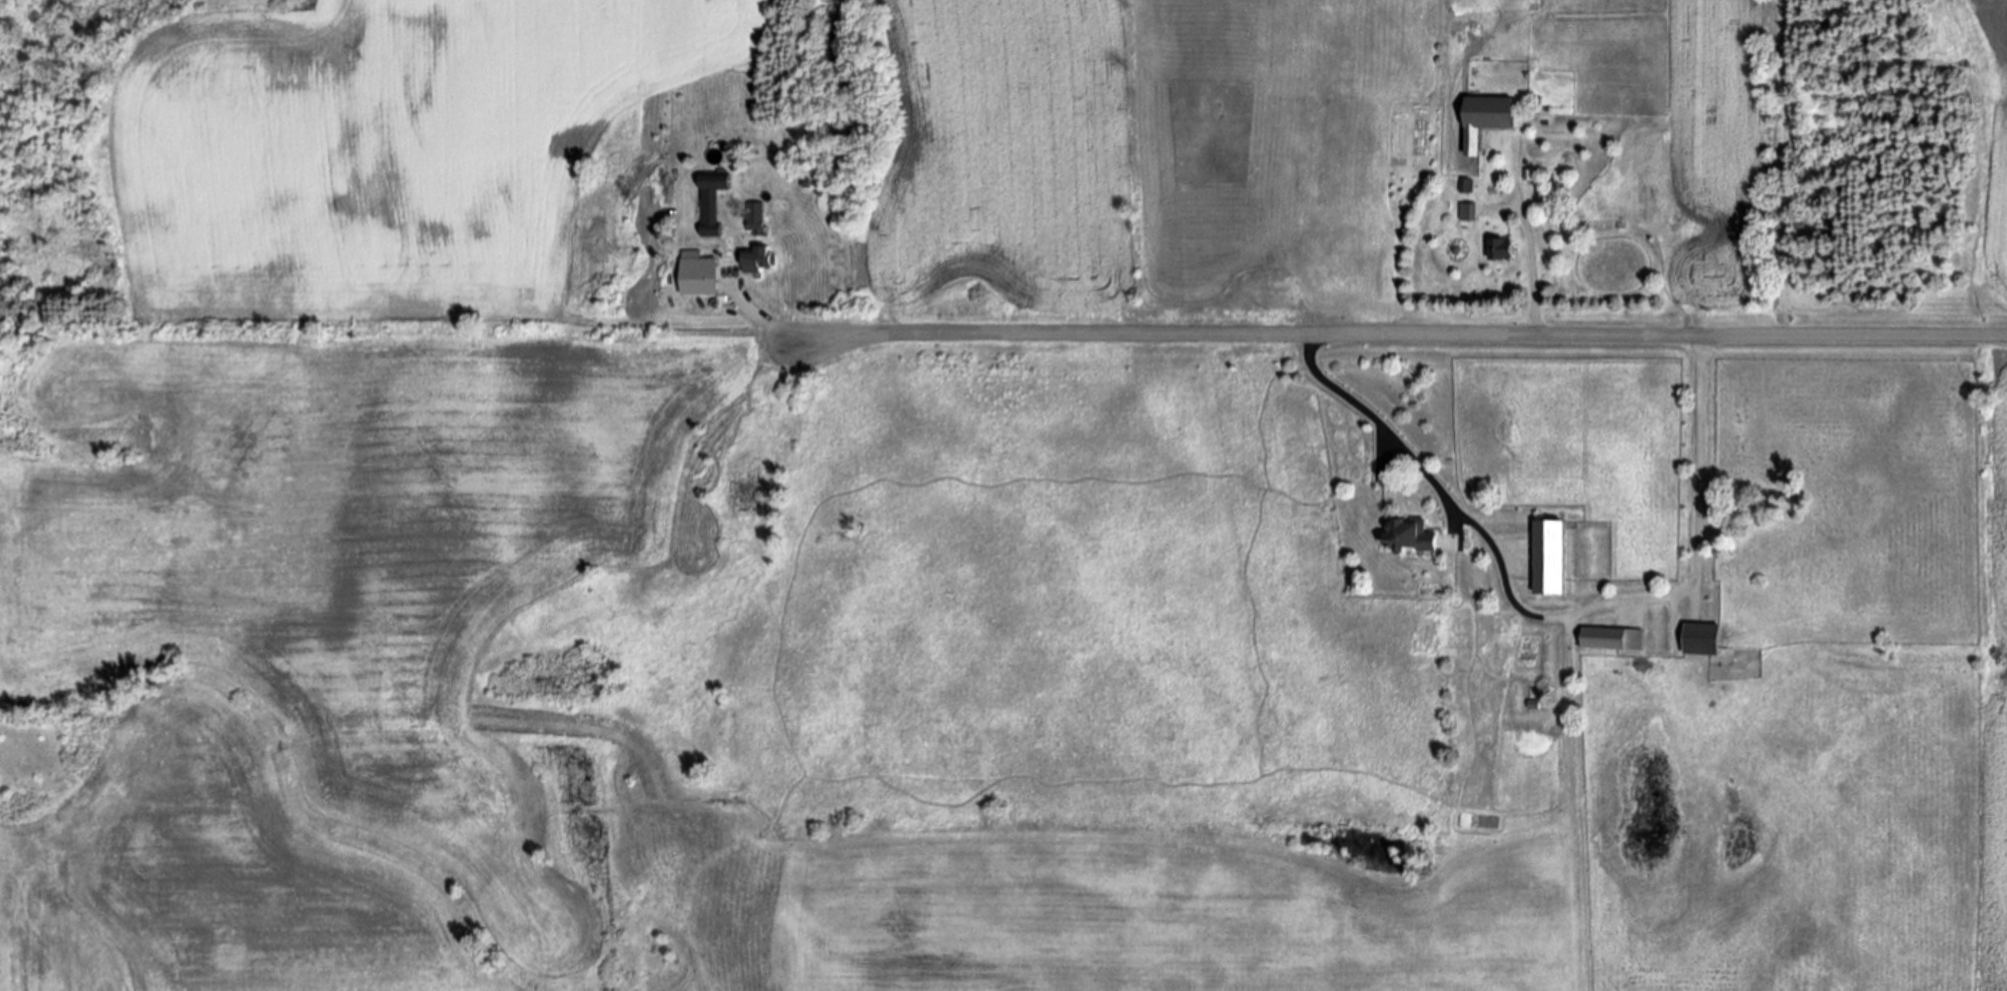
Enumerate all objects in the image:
building: (1487, 117)
building: (1465, 184)
building: (712, 201)
building: (1468, 211)
building: (756, 217)
building: (1503, 248)
building: (758, 259)
road: (1535, 267)
building: (699, 273)
road: (1402, 334)
building: (1413, 534)
building: (1551, 556)
road: (1553, 619)
building: (1613, 638)
building: (1704, 638)

